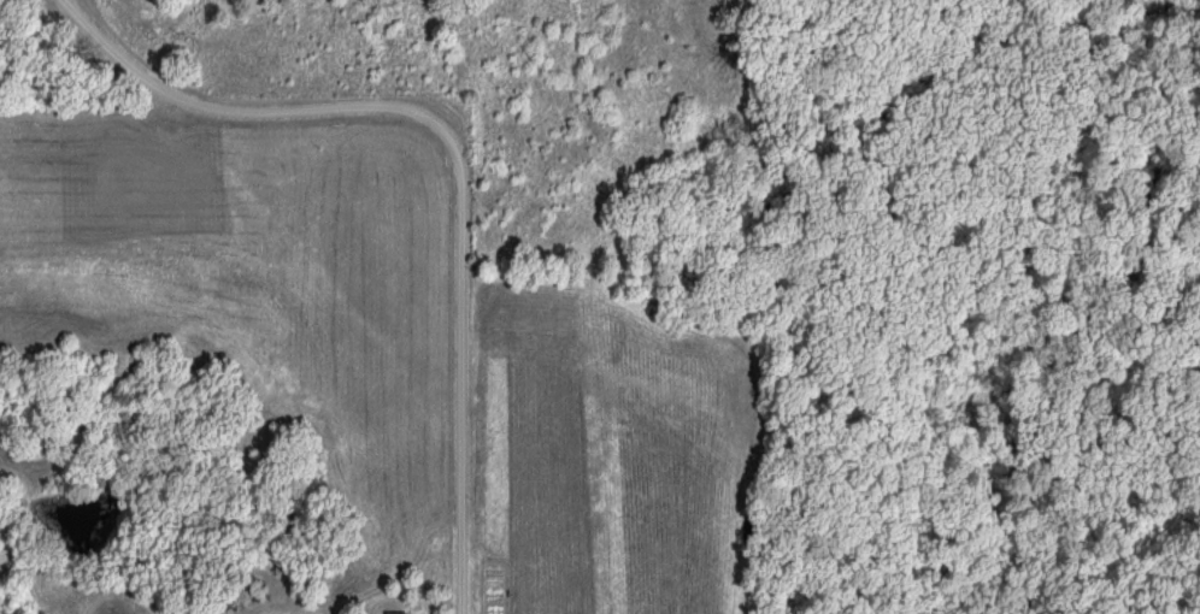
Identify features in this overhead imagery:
road: (457, 158)
building: (395, 613)

